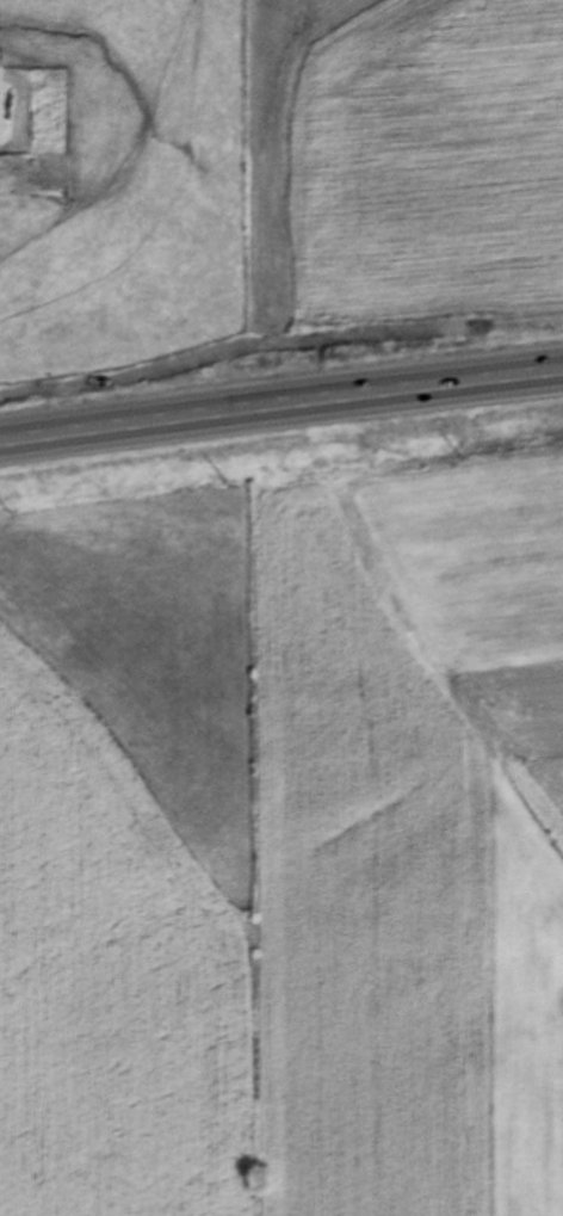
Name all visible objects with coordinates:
road: (280, 405)

